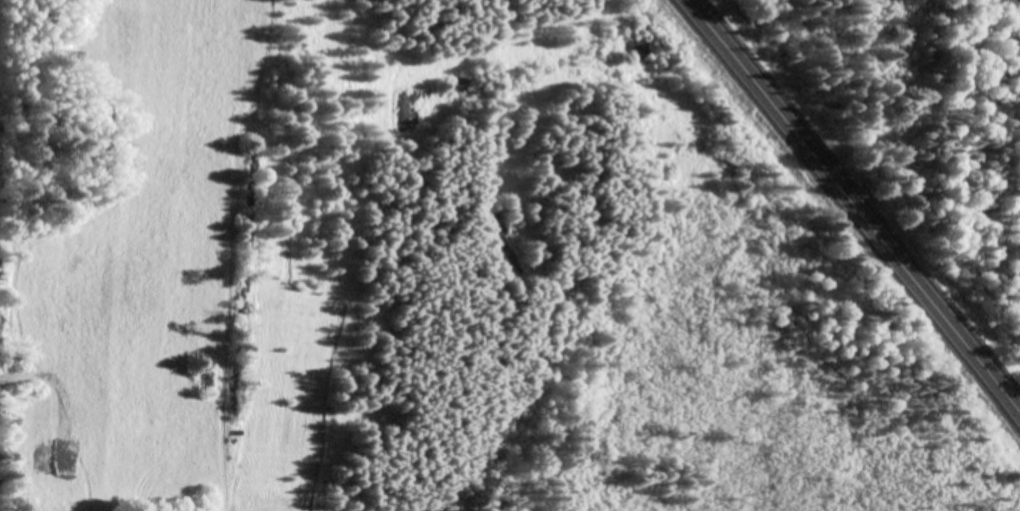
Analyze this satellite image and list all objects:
road: (852, 205)

